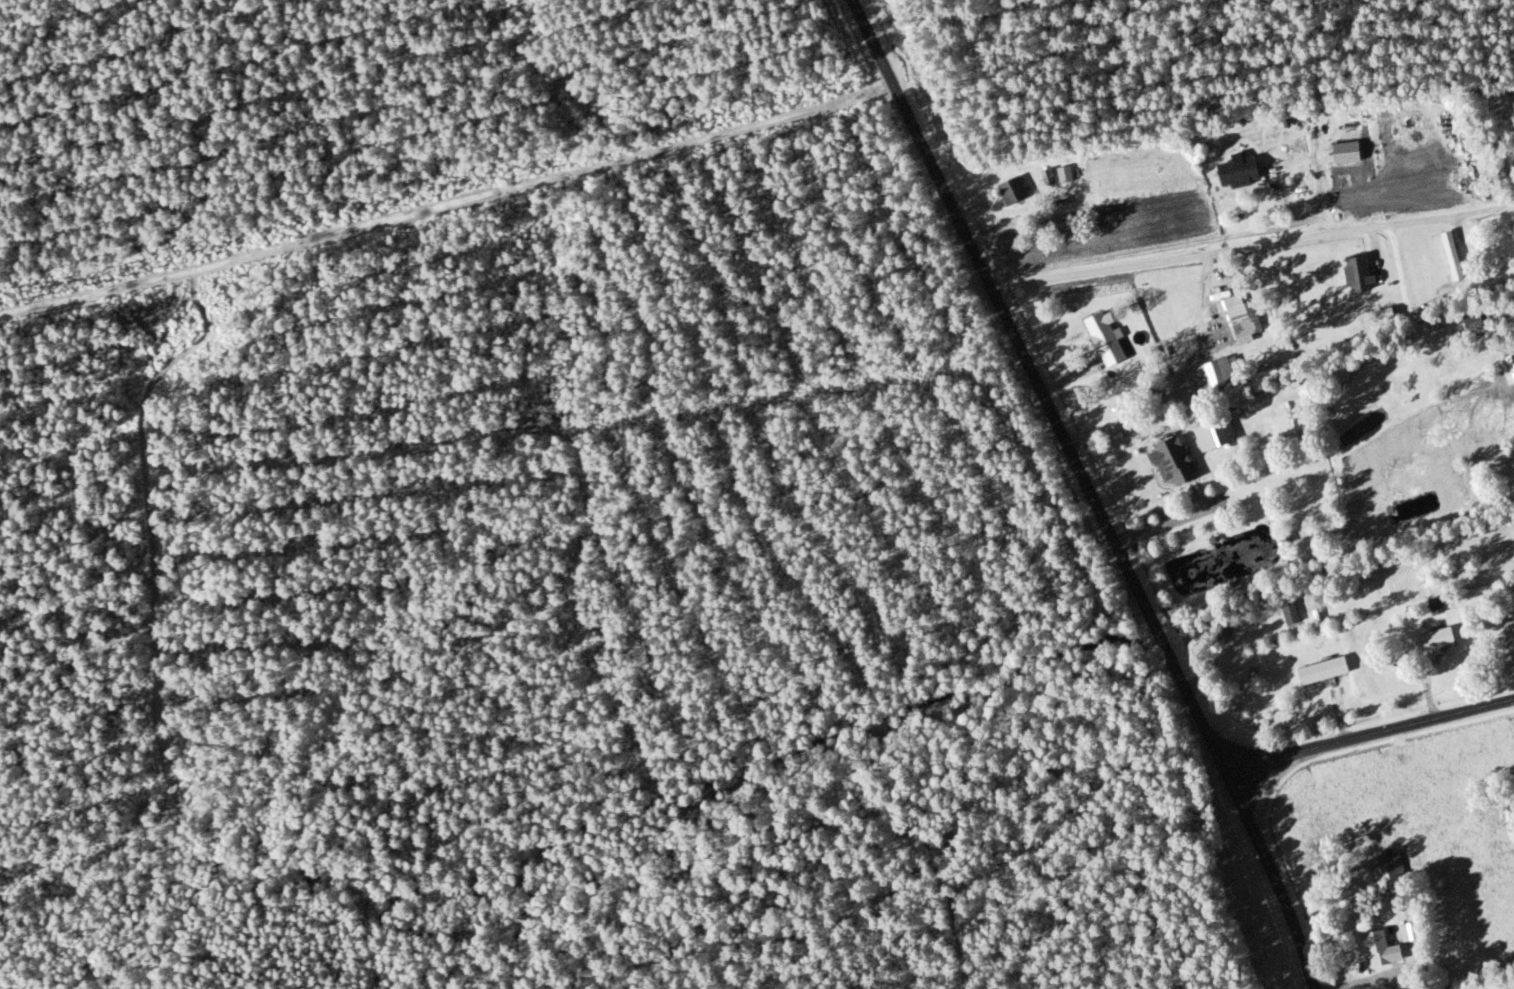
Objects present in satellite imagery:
building: (1235, 173)
building: (1011, 190)
road: (447, 196)
building: (1451, 256)
building: (1356, 274)
building: (1243, 321)
building: (1103, 339)
building: (1216, 373)
building: (1216, 434)
building: (1169, 462)
road: (1085, 493)
building: (1289, 612)
building: (1509, 635)
building: (1435, 640)
building: (1322, 670)
road: (1371, 736)
building: (1388, 872)
building: (1378, 949)

